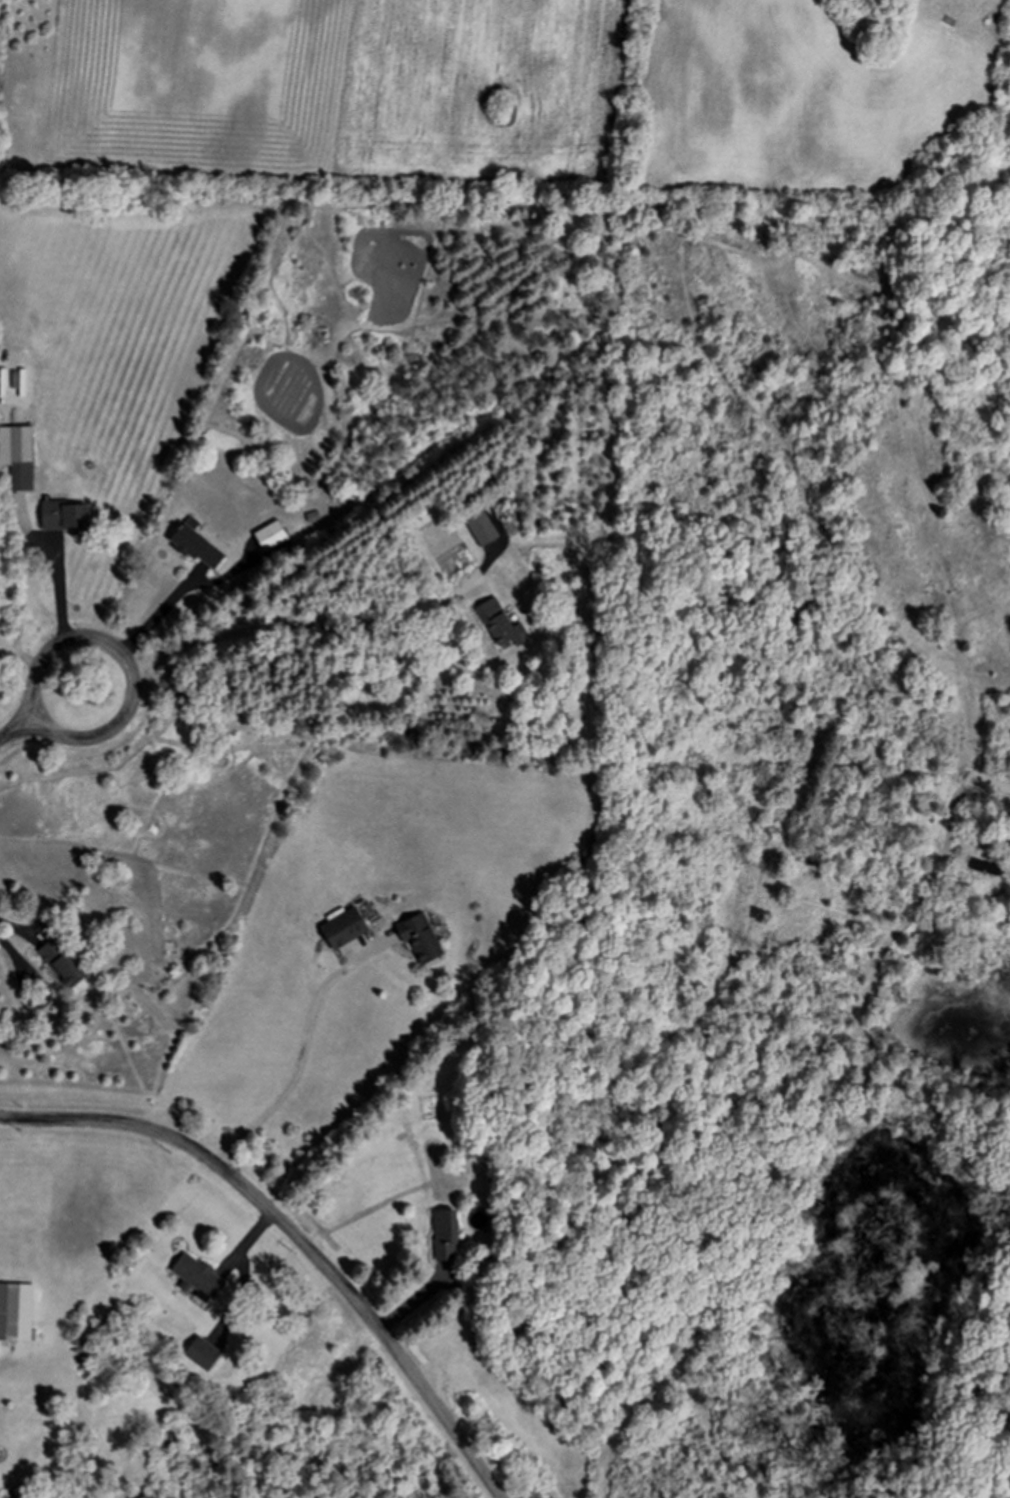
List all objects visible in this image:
building: (17, 456)
building: (63, 516)
building: (481, 528)
building: (270, 536)
building: (197, 545)
road: (62, 614)
building: (500, 624)
road: (279, 625)
road: (147, 626)
road: (39, 667)
road: (49, 716)
road: (998, 783)
building: (984, 867)
road: (18, 926)
building: (344, 928)
building: (419, 938)
building: (61, 963)
road: (300, 1057)
road: (296, 1234)
building: (445, 1235)
building: (197, 1277)
building: (15, 1312)
building: (202, 1353)

